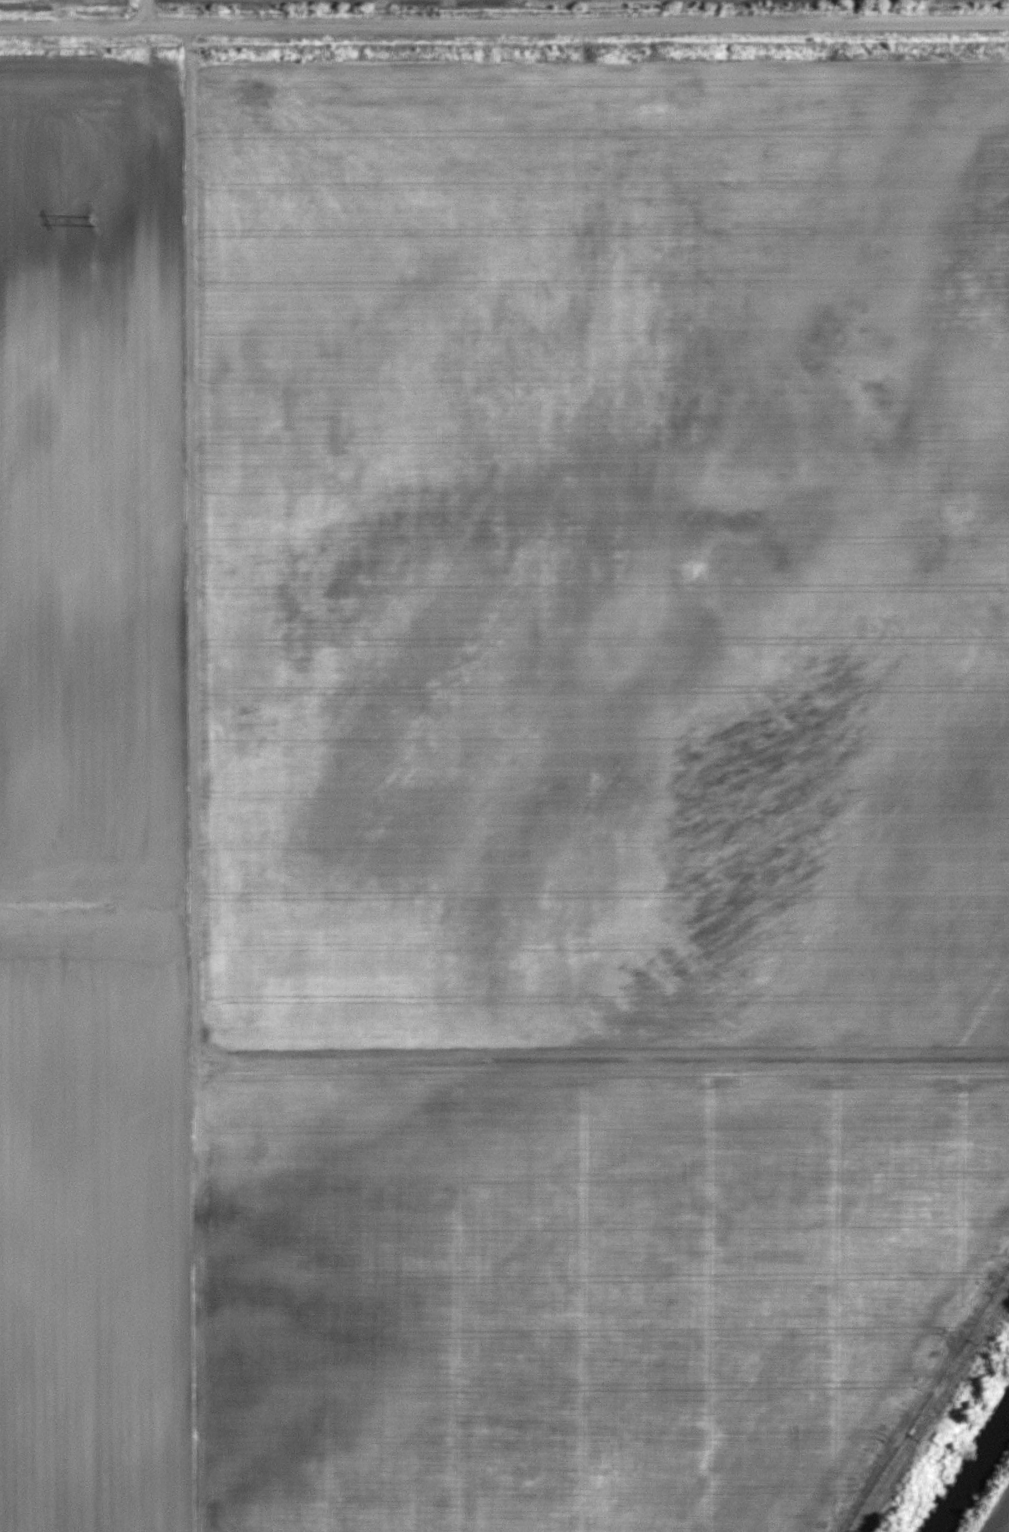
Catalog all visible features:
road: (149, 13)
road: (504, 24)
power tower: (95, 222)

